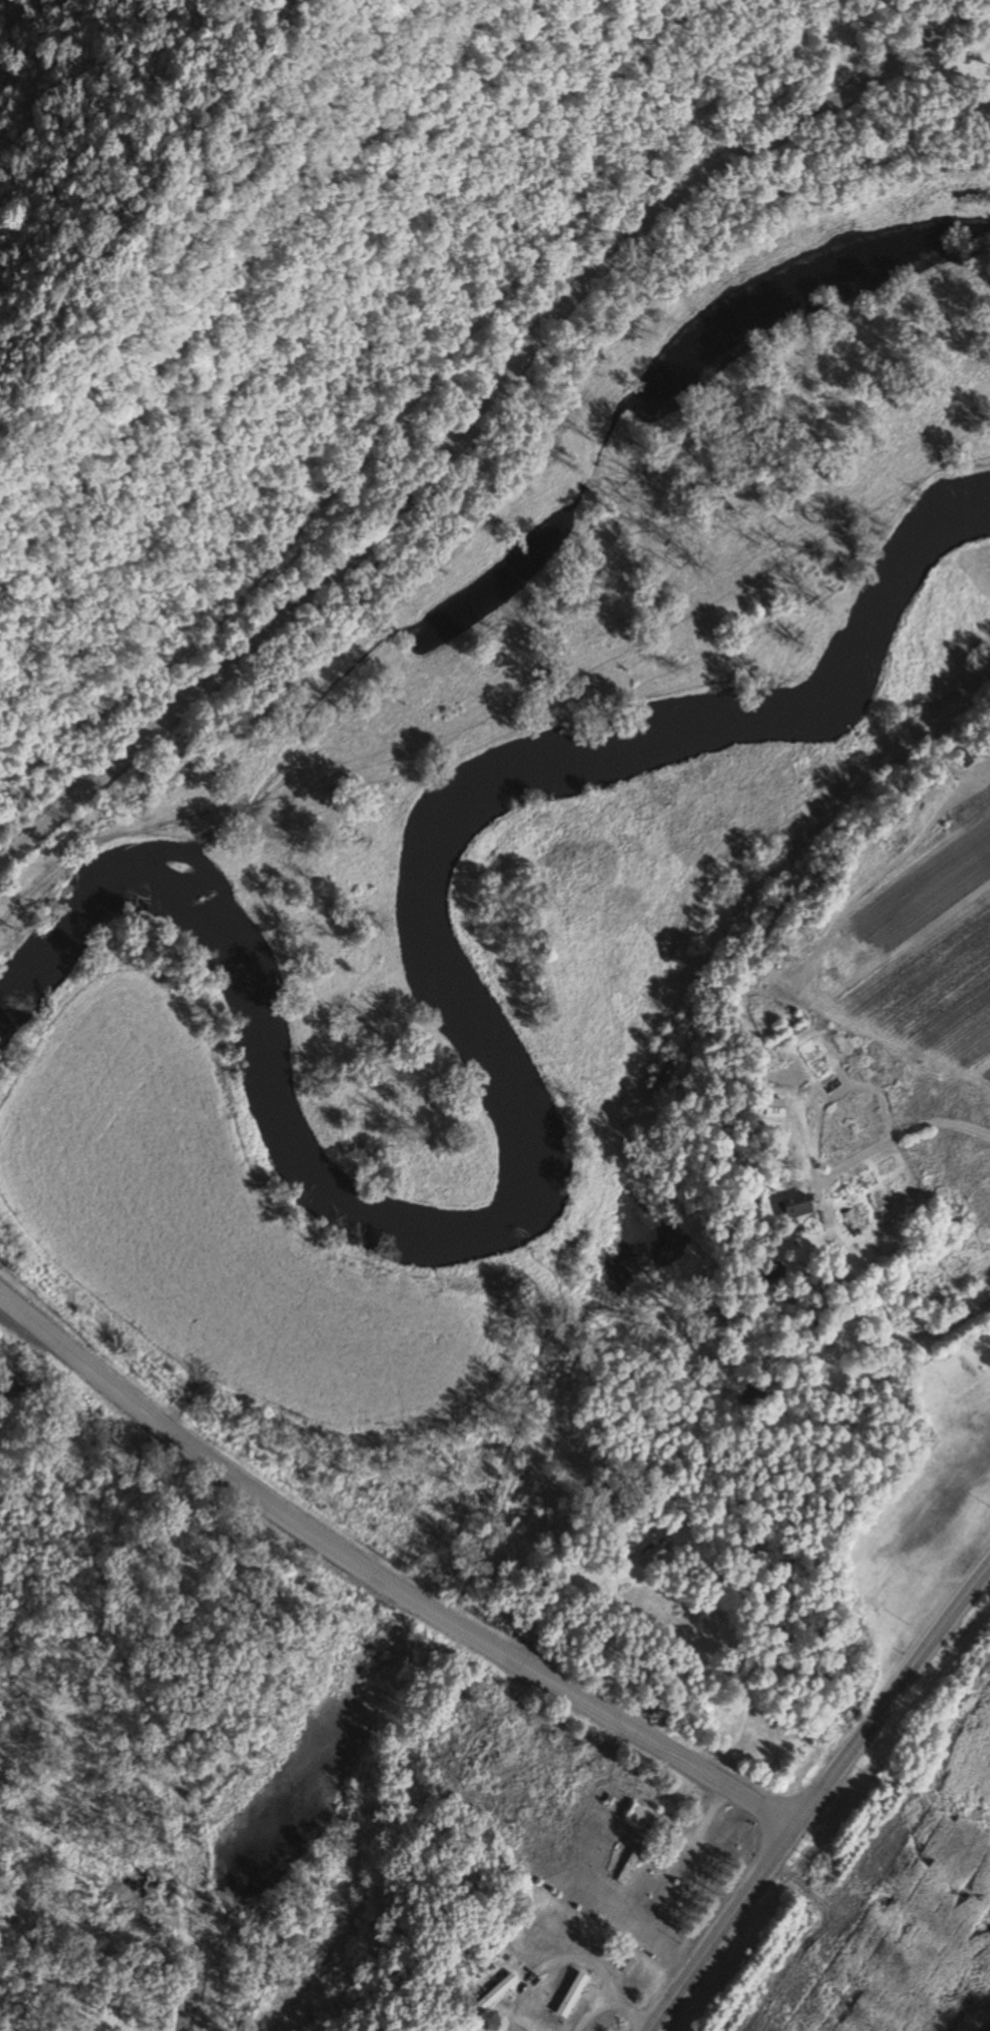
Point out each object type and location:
road: (479, 412)
building: (962, 758)
river: (509, 1079)
building: (772, 1108)
road: (903, 1139)
building: (797, 1207)
building: (843, 1316)
building: (752, 1394)
road: (383, 1581)
road: (816, 1796)
building: (636, 1814)
building: (624, 1964)
building: (494, 1993)
building: (570, 1995)

